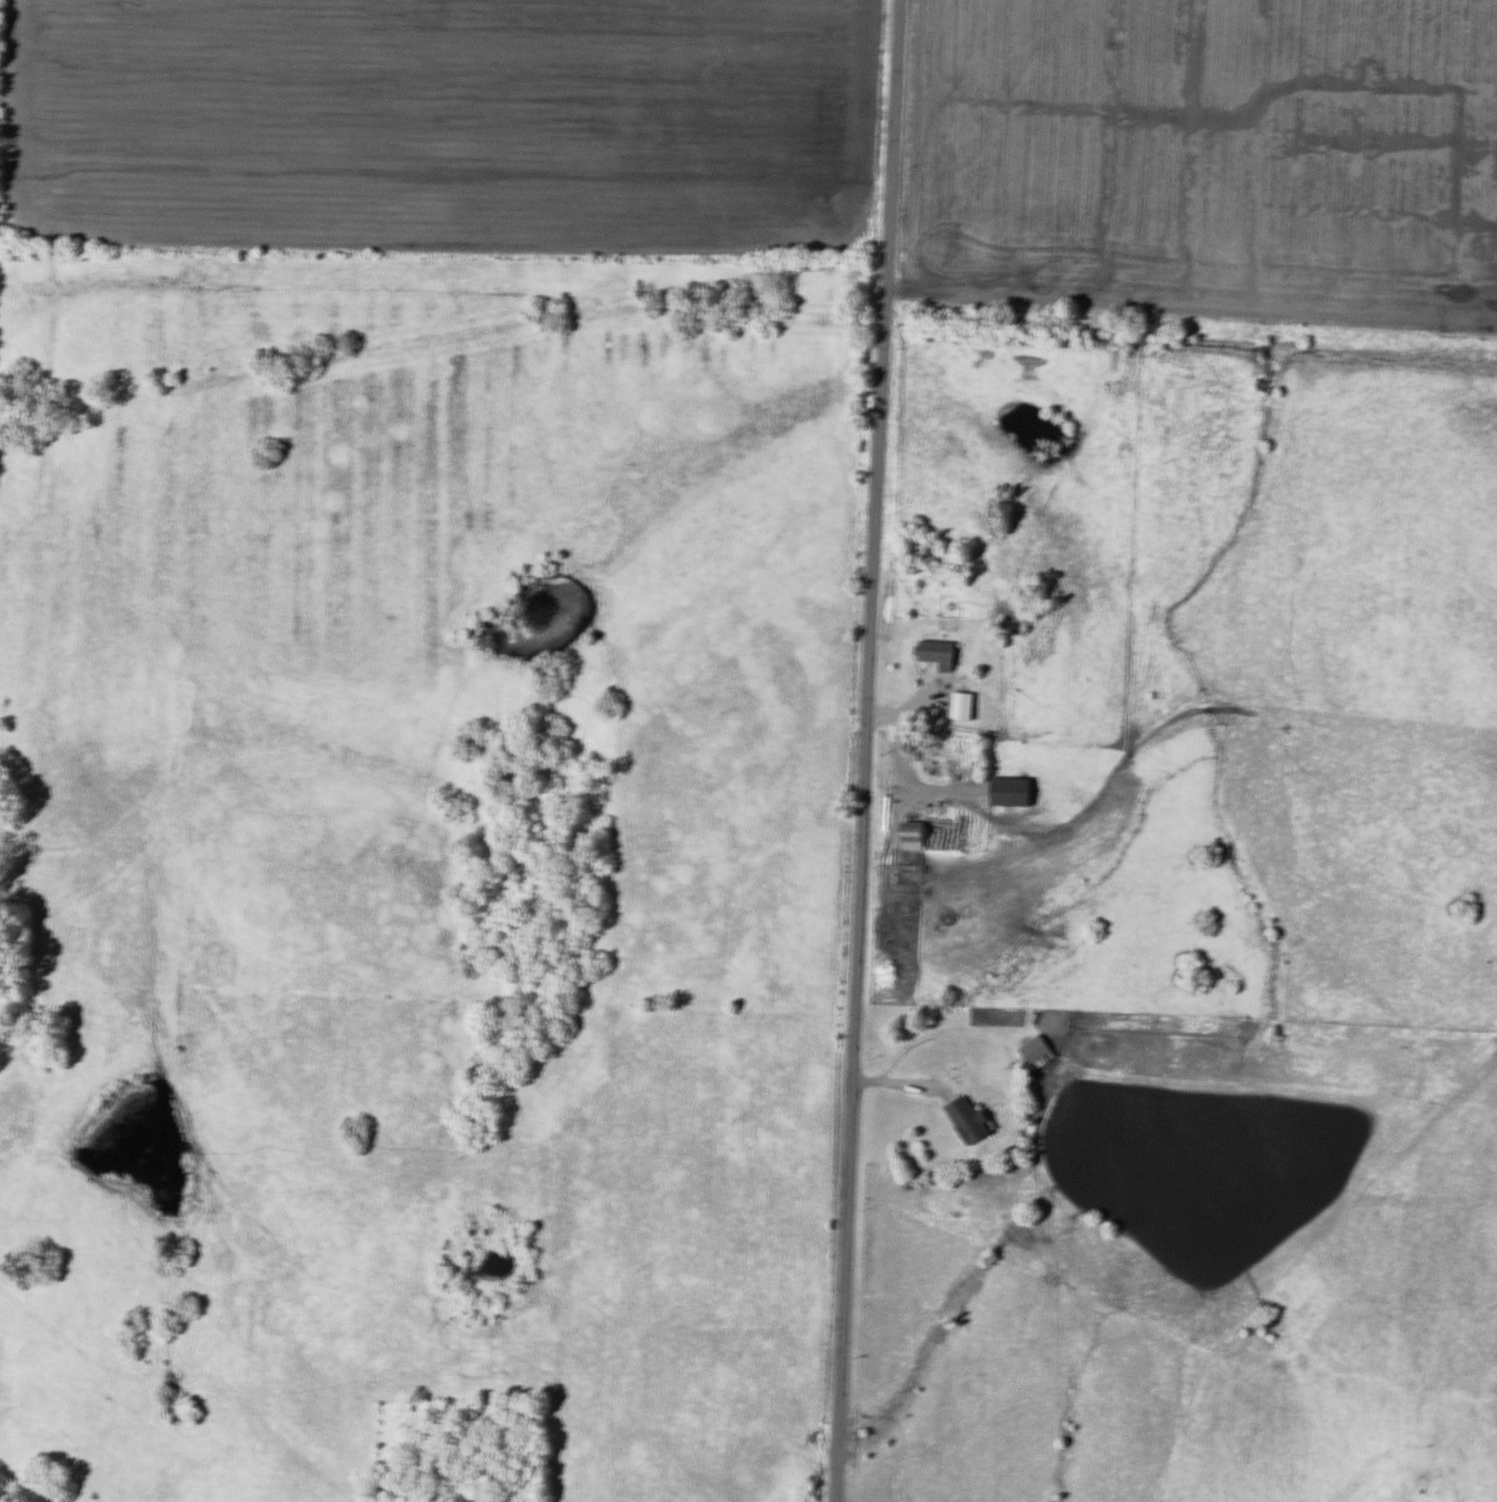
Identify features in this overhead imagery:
crop: (445, 122)
crop: (1204, 156)
road: (1086, 306)
building: (941, 655)
building: (965, 707)
road: (865, 750)
road: (900, 769)
building: (1013, 793)
building: (915, 837)
building: (970, 1121)
building: (434, 1501)

